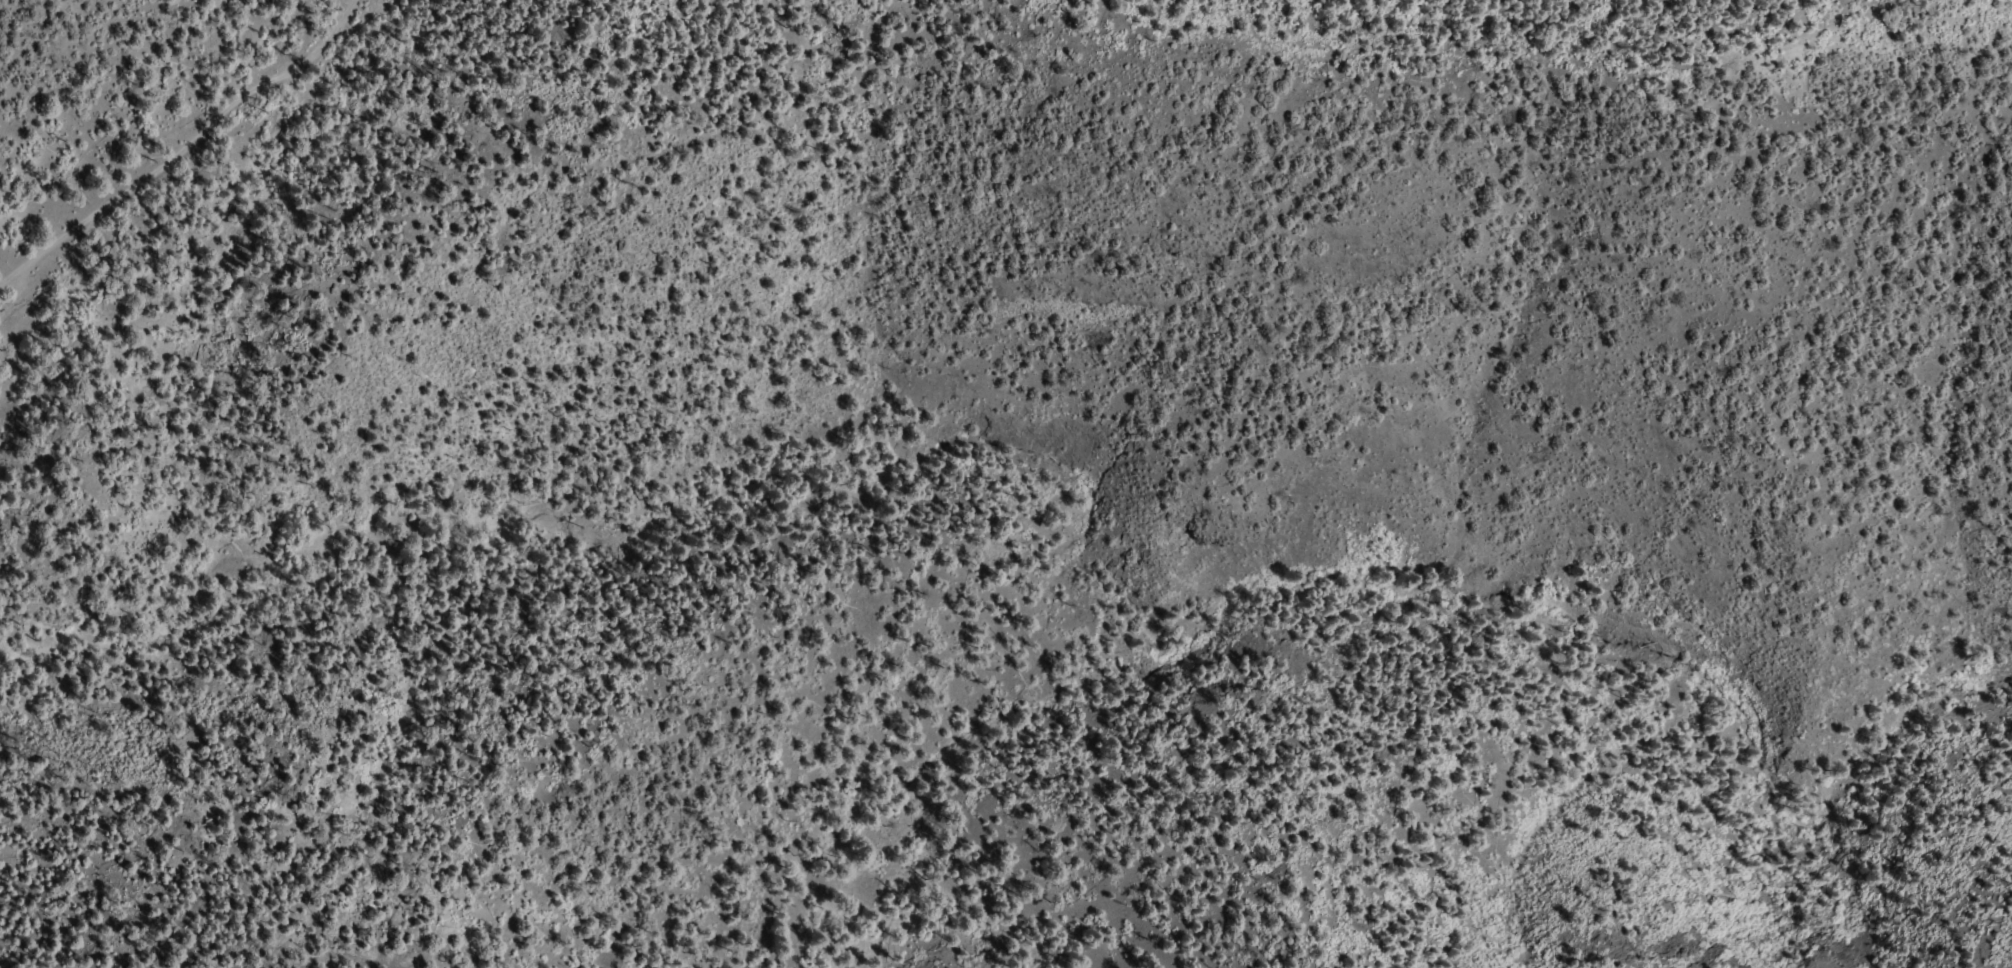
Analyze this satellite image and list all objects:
road: (185, 148)
road: (345, 479)
road: (347, 579)
road: (900, 638)

